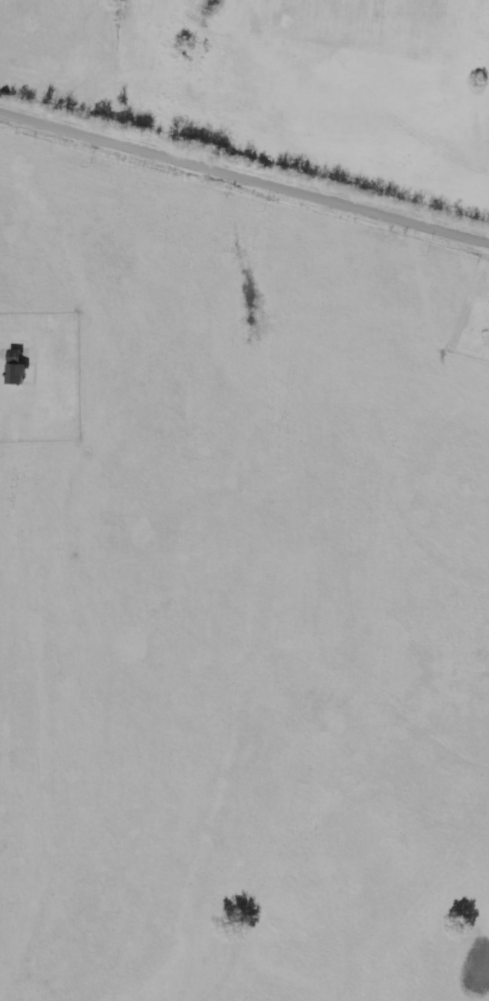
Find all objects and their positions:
road: (244, 179)

